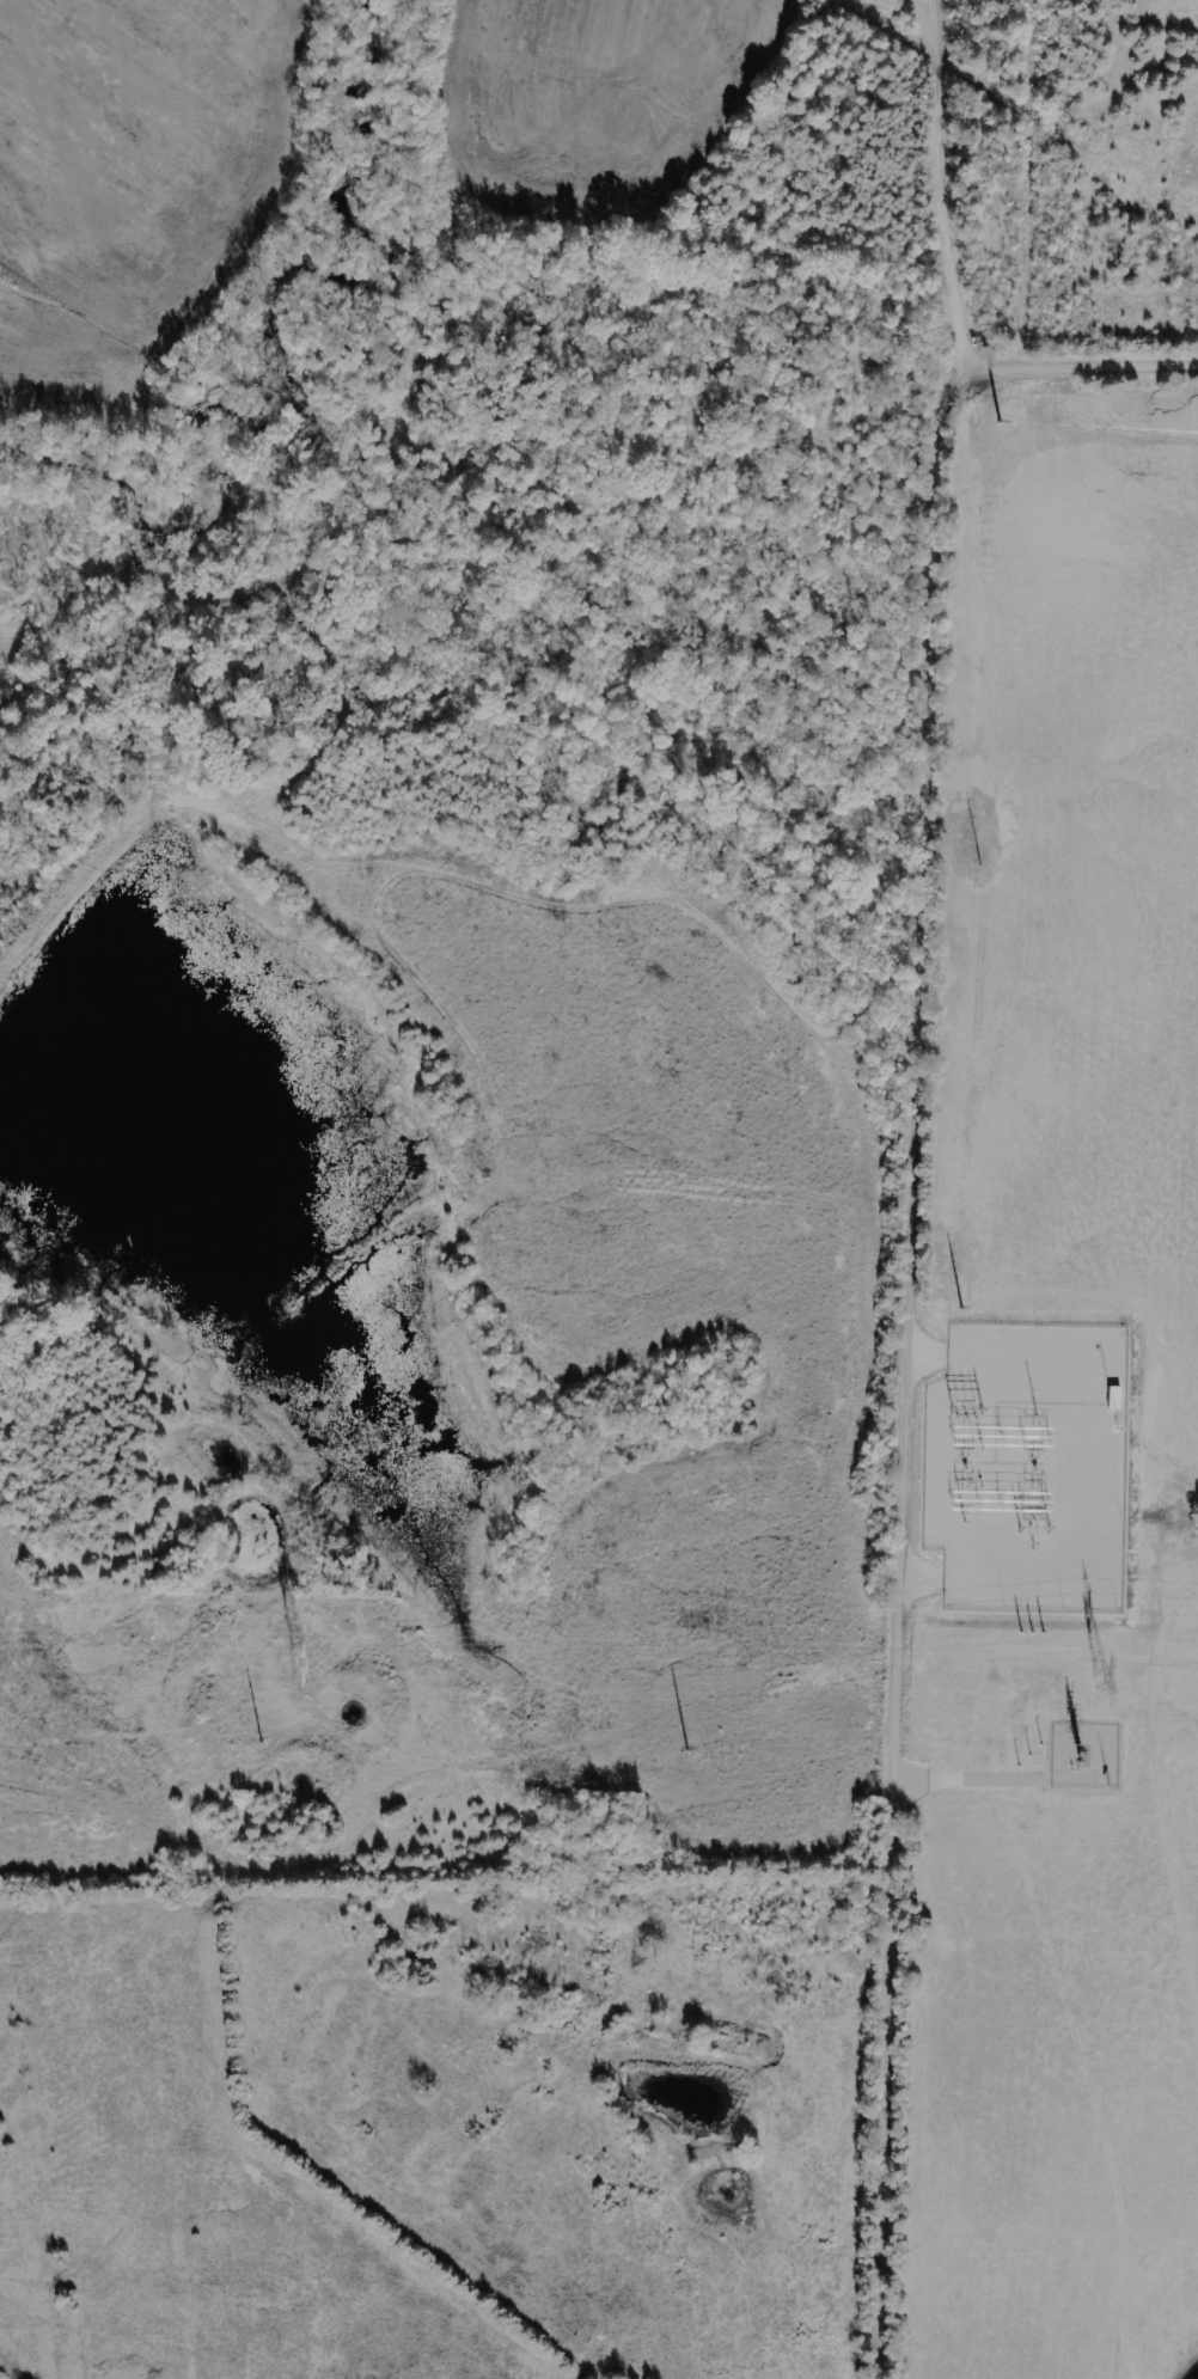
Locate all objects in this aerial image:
road: (952, 294)
road: (936, 1369)
power tower: (293, 1663)
power tower: (1100, 1678)

